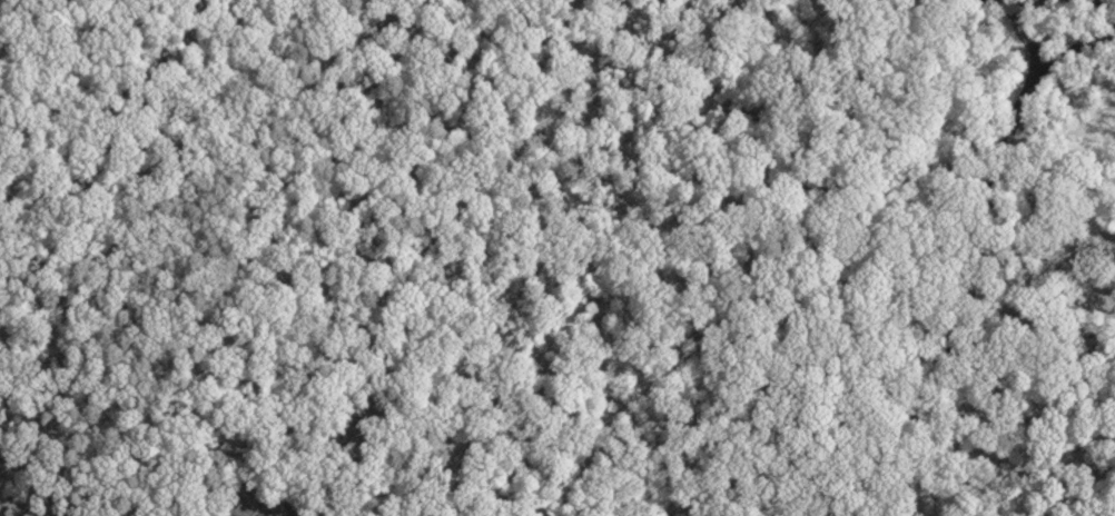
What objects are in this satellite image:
road: (1106, 1)
road: (1022, 34)
road: (562, 42)
road: (970, 262)
road: (1039, 296)

